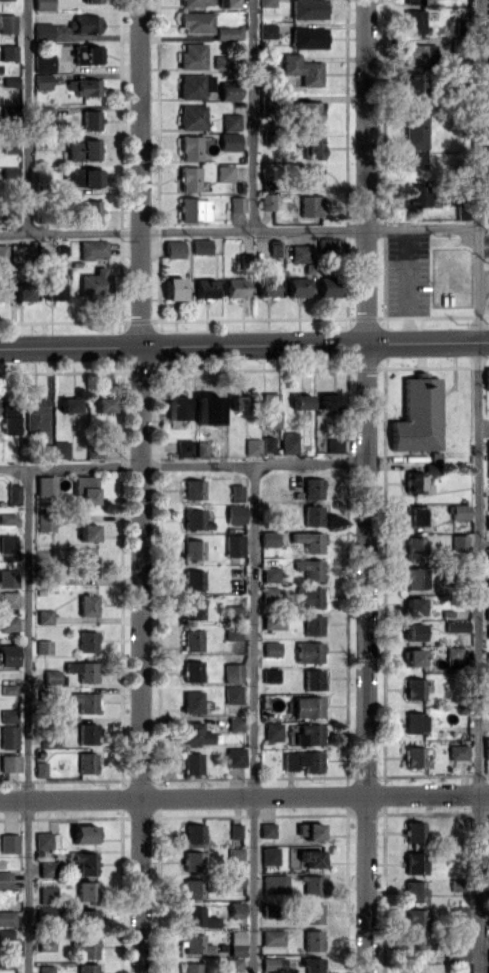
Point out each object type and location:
building: (91, 0)
building: (413, 1)
building: (194, 2)
building: (266, 2)
building: (228, 3)
building: (42, 5)
building: (308, 9)
building: (195, 21)
building: (413, 21)
building: (7, 23)
building: (84, 23)
building: (266, 30)
building: (43, 31)
building: (227, 33)
building: (307, 37)
building: (8, 52)
building: (419, 53)
building: (86, 54)
building: (192, 56)
building: (221, 61)
building: (43, 62)
building: (302, 69)
building: (9, 81)
building: (42, 81)
building: (412, 81)
building: (194, 85)
building: (84, 86)
building: (487, 88)
building: (228, 92)
building: (307, 110)
building: (42, 111)
road: (252, 115)
road: (26, 116)
building: (191, 116)
building: (90, 119)
building: (230, 121)
building: (415, 137)
building: (228, 141)
building: (312, 146)
building: (189, 147)
building: (82, 149)
building: (8, 173)
building: (224, 173)
building: (310, 174)
building: (81, 176)
building: (189, 178)
building: (415, 196)
building: (266, 201)
building: (237, 204)
building: (310, 205)
building: (193, 209)
building: (89, 210)
road: (239, 231)
building: (201, 246)
building: (275, 247)
building: (92, 248)
building: (173, 248)
building: (61, 252)
building: (301, 252)
building: (19, 253)
building: (94, 284)
road: (405, 285)
building: (53, 286)
building: (265, 286)
building: (296, 286)
building: (327, 286)
building: (235, 287)
building: (174, 288)
building: (204, 288)
building: (22, 290)
building: (0, 293)
road: (244, 343)
building: (486, 378)
building: (328, 400)
building: (300, 401)
building: (238, 402)
building: (68, 404)
building: (102, 404)
building: (175, 405)
building: (206, 409)
building: (268, 410)
building: (34, 414)
building: (417, 415)
building: (9, 418)
building: (288, 442)
building: (487, 445)
building: (251, 446)
building: (333, 446)
building: (183, 447)
building: (60, 448)
building: (200, 448)
road: (182, 465)
building: (414, 482)
road: (140, 486)
road: (364, 486)
road: (477, 486)
building: (312, 487)
building: (84, 488)
building: (192, 488)
building: (235, 492)
building: (12, 494)
building: (488, 502)
building: (458, 511)
building: (234, 513)
building: (311, 514)
building: (413, 516)
building: (7, 518)
building: (194, 519)
building: (44, 521)
building: (487, 521)
building: (87, 532)
building: (267, 538)
building: (308, 540)
building: (458, 541)
building: (7, 543)
building: (233, 544)
building: (414, 546)
building: (191, 548)
building: (487, 556)
building: (87, 566)
building: (309, 568)
building: (269, 573)
building: (8, 577)
building: (412, 577)
building: (192, 579)
building: (487, 585)
building: (269, 594)
building: (308, 596)
building: (8, 599)
building: (86, 604)
building: (412, 605)
building: (193, 609)
building: (486, 613)
building: (43, 616)
building: (8, 623)
building: (273, 623)
building: (312, 624)
building: (456, 625)
building: (412, 631)
building: (487, 631)
building: (233, 632)
building: (191, 640)
building: (86, 641)
building: (43, 646)
building: (270, 648)
building: (308, 651)
building: (8, 655)
building: (413, 656)
building: (487, 657)
building: (82, 670)
building: (191, 670)
building: (232, 672)
building: (269, 675)
building: (53, 677)
building: (311, 679)
building: (488, 683)
building: (414, 688)
building: (232, 693)
building: (84, 701)
building: (191, 701)
building: (307, 706)
building: (7, 715)
road: (252, 718)
road: (26, 719)
building: (413, 722)
building: (233, 723)
building: (272, 731)
building: (86, 733)
building: (194, 733)
building: (308, 733)
building: (8, 736)
building: (486, 747)
building: (457, 751)
building: (234, 756)
building: (413, 756)
building: (301, 760)
building: (9, 762)
building: (86, 762)
building: (191, 763)
road: (244, 795)
building: (266, 829)
building: (234, 830)
building: (312, 831)
building: (414, 831)
building: (83, 833)
building: (192, 833)
building: (45, 839)
building: (8, 842)
building: (268, 855)
building: (310, 857)
building: (192, 860)
building: (84, 862)
building: (413, 862)
building: (46, 869)
building: (4, 878)
building: (274, 883)
building: (311, 885)
building: (192, 888)
building: (85, 890)
building: (414, 890)
building: (46, 894)
building: (235, 909)
building: (311, 912)
building: (458, 914)
building: (85, 917)
building: (197, 917)
building: (6, 918)
building: (413, 919)
building: (488, 926)
building: (272, 936)
building: (312, 939)
building: (236, 943)
building: (45, 944)
building: (195, 944)
building: (86, 946)
building: (413, 946)
building: (459, 951)
building: (488, 955)
building: (272, 962)
building: (233, 964)
building: (311, 964)
building: (191, 967)
building: (45, 968)
building: (86, 968)
building: (488, 969)

